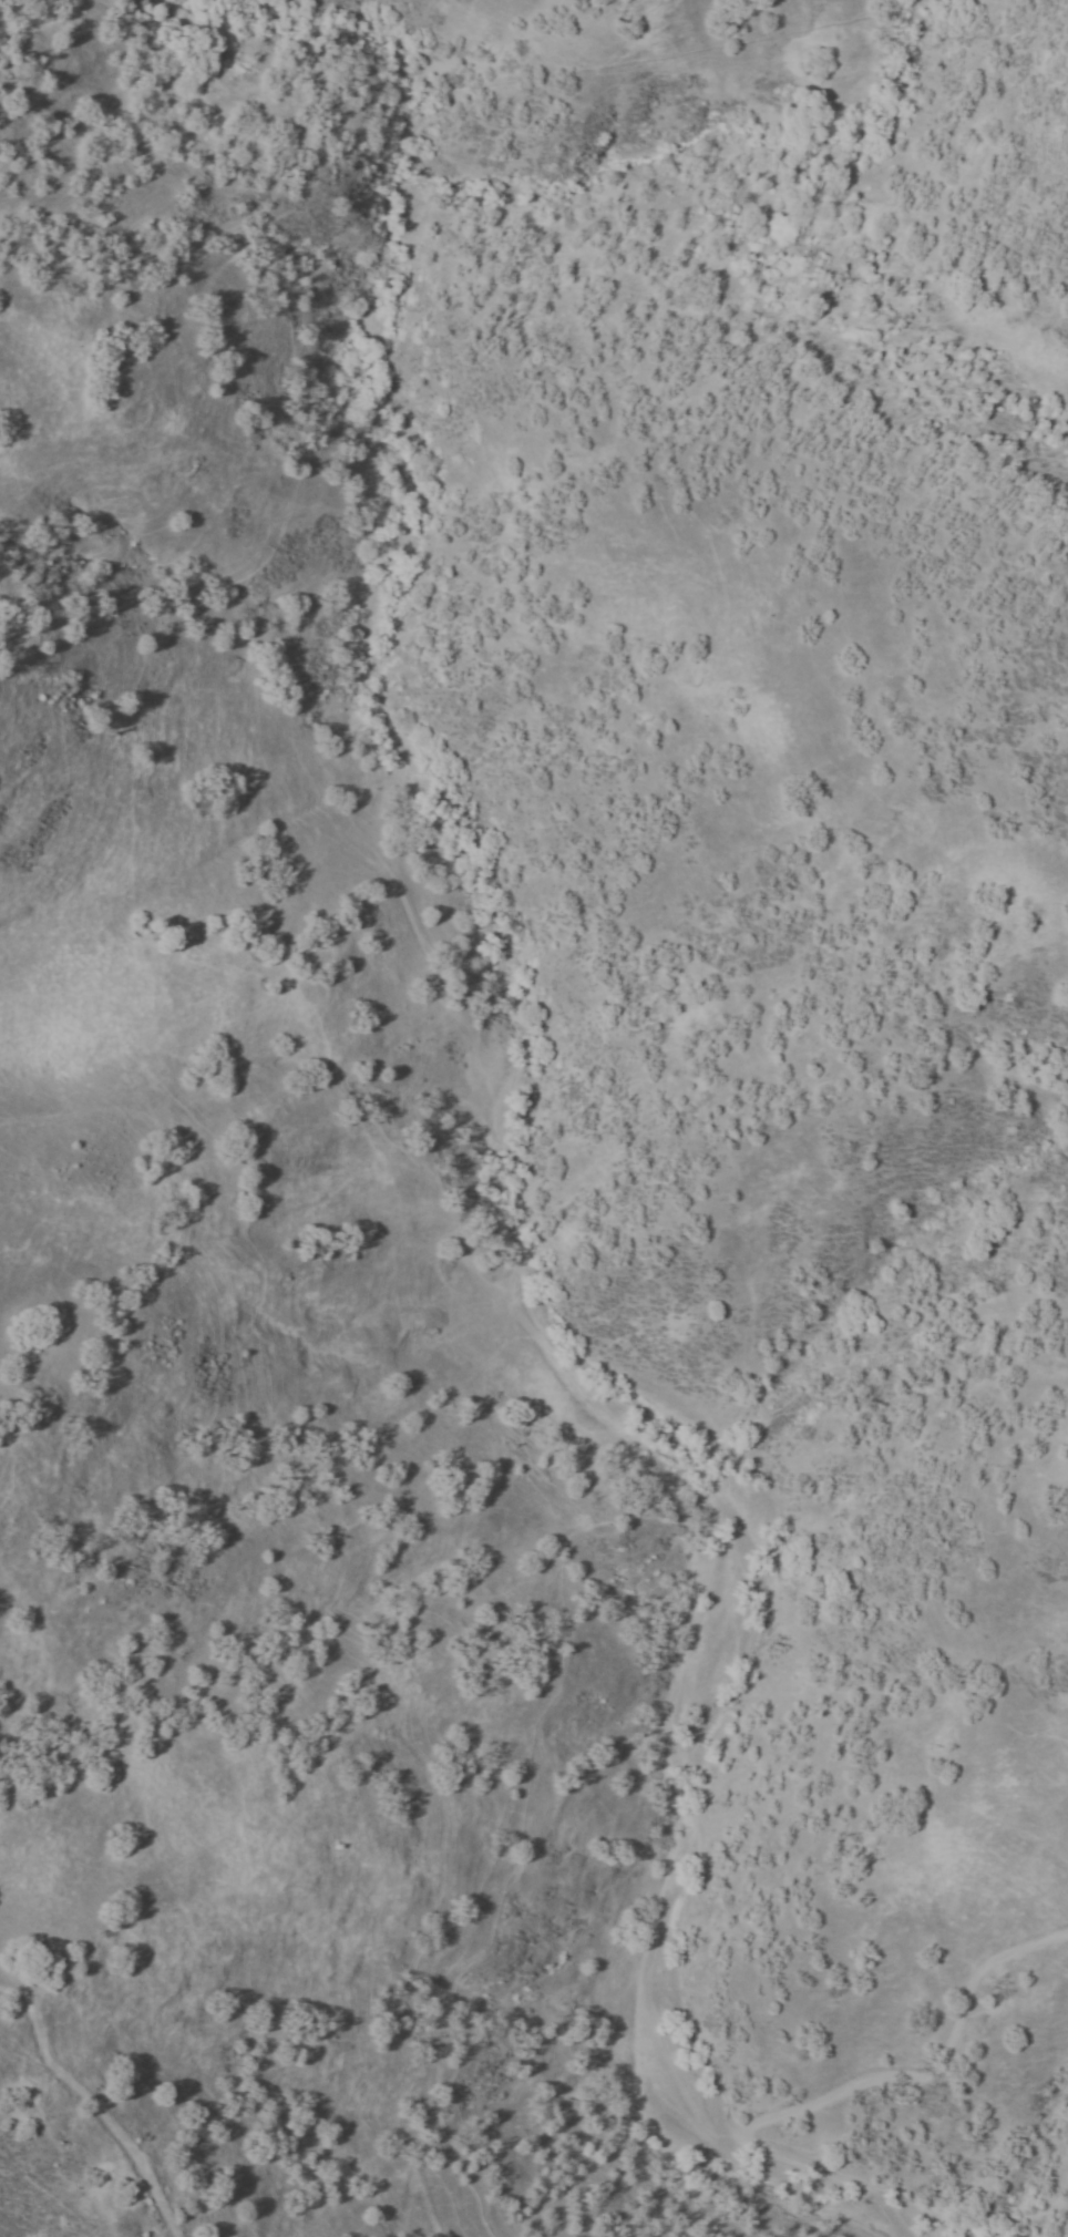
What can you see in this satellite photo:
road: (938, 2065)
road: (92, 2104)

